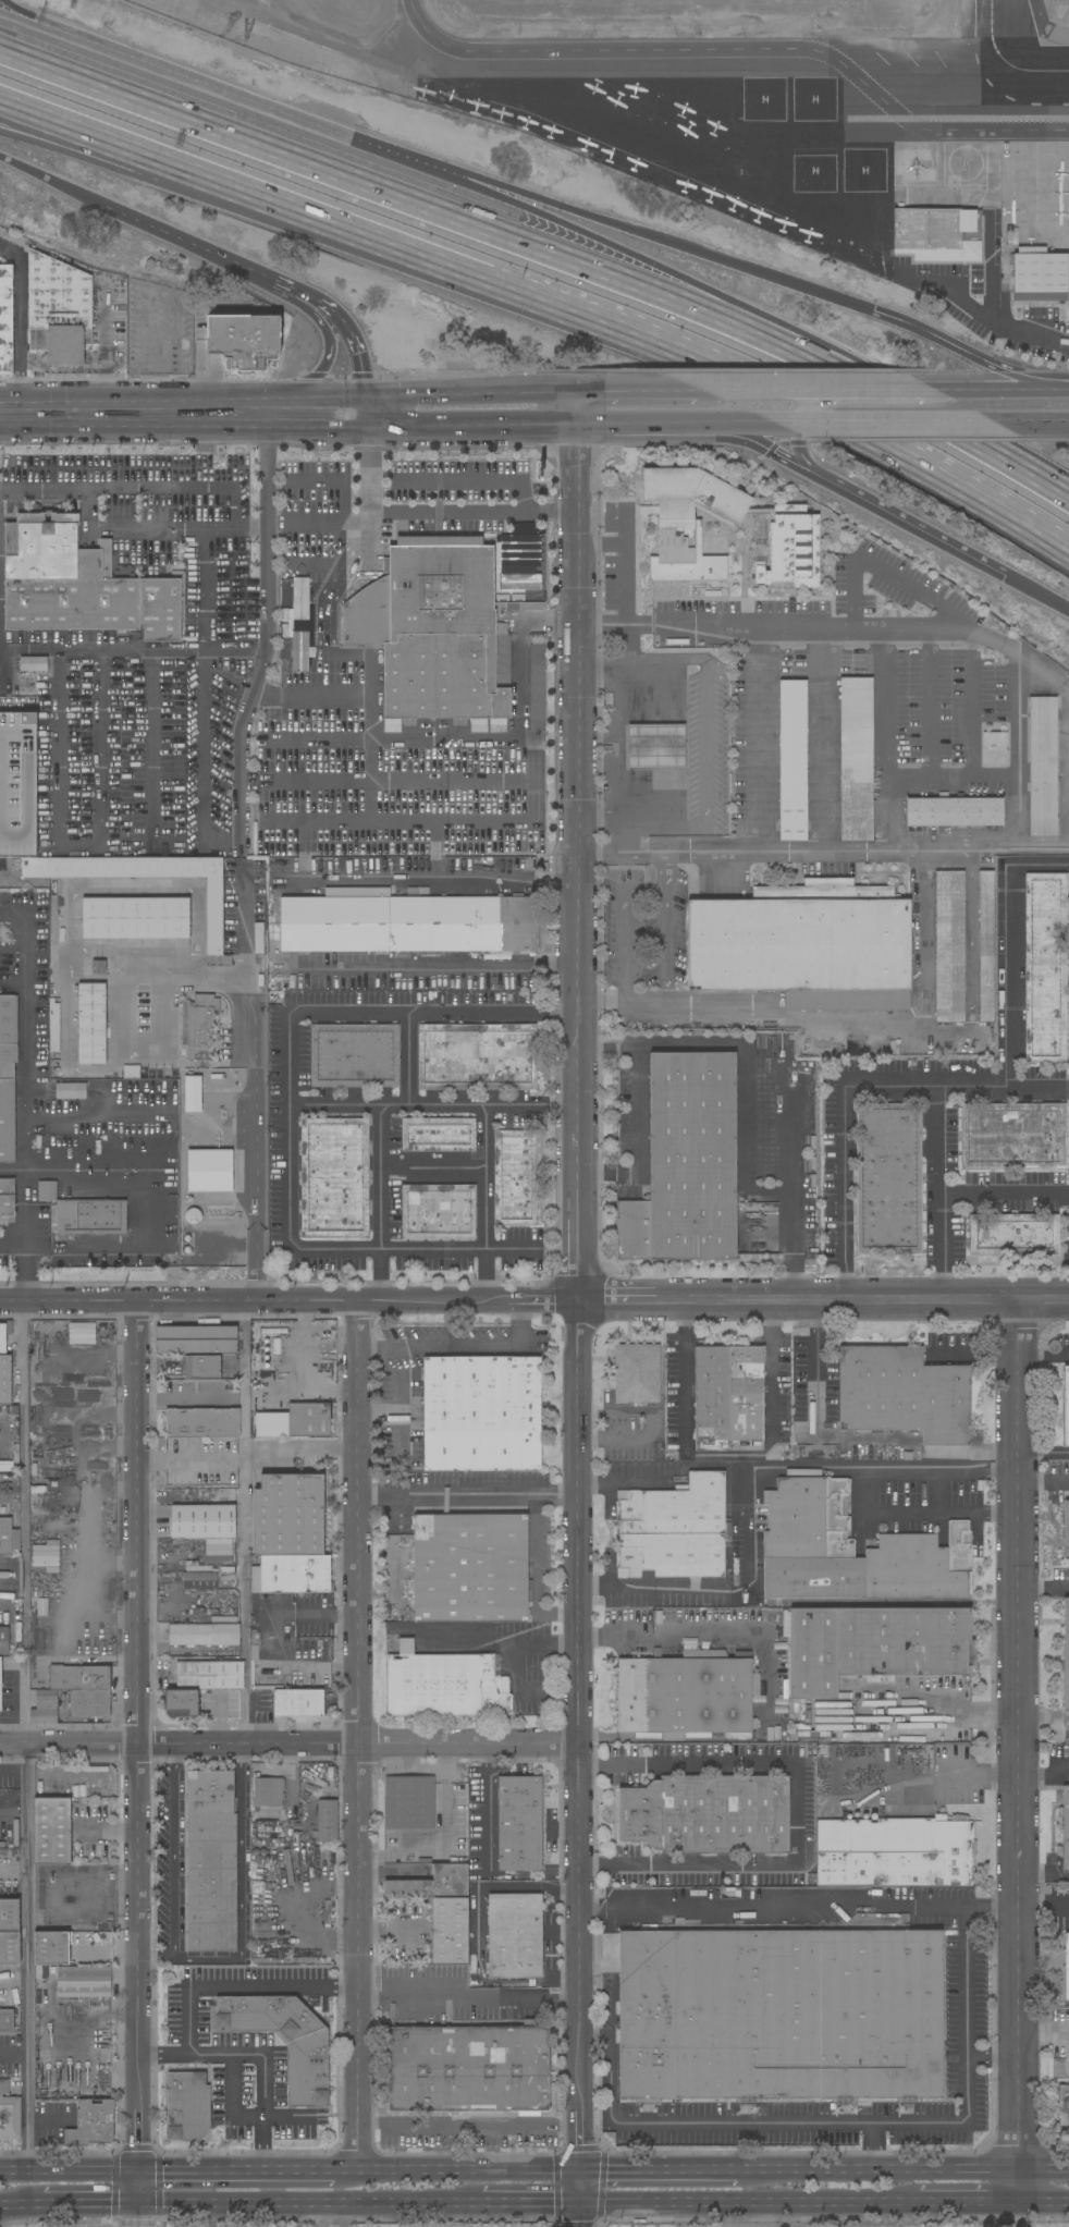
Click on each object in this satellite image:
road: (17, 12)
road: (16, 19)
airport taxiway: (991, 35)
road: (740, 52)
airport taxiway: (1030, 70)
helipad: (763, 99)
helipad: (814, 99)
road: (248, 103)
road: (71, 122)
airport: (754, 124)
road: (71, 139)
road: (155, 154)
helipad: (913, 162)
helipad: (964, 164)
road: (53, 181)
road: (355, 183)
road: (492, 187)
road: (493, 194)
road: (329, 217)
building: (937, 234)
building: (1011, 237)
road: (193, 240)
road: (696, 250)
road: (615, 262)
building: (1039, 274)
road: (288, 282)
building: (58, 309)
traffic signals: (872, 310)
road: (315, 313)
building: (5, 319)
road: (1015, 321)
parking lot: (108, 323)
building: (237, 329)
parking lot: (155, 330)
road: (353, 330)
road: (22, 332)
road: (930, 334)
road: (211, 354)
road: (103, 357)
road: (161, 363)
road: (321, 370)
road: (1015, 376)
road: (1056, 389)
road: (813, 390)
road: (983, 390)
road: (640, 391)
road: (470, 394)
road: (787, 394)
road: (331, 397)
traffic signals: (366, 397)
road: (148, 401)
road: (893, 403)
road: (804, 411)
road: (368, 413)
road: (1032, 425)
road: (890, 426)
road: (472, 427)
road: (651, 427)
road: (755, 427)
traffic signals: (370, 428)
road: (185, 429)
road: (767, 449)
road: (800, 454)
road: (315, 479)
road: (462, 485)
road: (114, 490)
road: (370, 498)
road: (344, 502)
road: (230, 512)
road: (95, 513)
road: (421, 515)
building: (688, 522)
road: (907, 524)
road: (162, 535)
building: (789, 551)
road: (523, 553)
building: (106, 558)
road: (623, 563)
road: (306, 565)
traffic signals: (1006, 576)
building: (79, 584)
road: (329, 588)
road: (208, 592)
road: (1037, 592)
road: (307, 602)
road: (551, 624)
road: (600, 625)
building: (437, 629)
road: (268, 645)
road: (133, 653)
building: (33, 664)
road: (600, 671)
road: (1043, 673)
road: (280, 675)
road: (372, 680)
road: (523, 682)
building: (537, 687)
building: (22, 693)
building: (25, 705)
road: (1016, 721)
road: (884, 737)
road: (619, 739)
road: (755, 739)
road: (451, 741)
road: (319, 742)
building: (655, 746)
road: (153, 749)
building: (994, 749)
building: (856, 759)
building: (792, 760)
road: (371, 761)
road: (202, 763)
building: (1042, 766)
road: (950, 781)
road: (398, 782)
road: (530, 783)
building: (17, 784)
building: (954, 811)
road: (600, 816)
road: (397, 825)
road: (1039, 841)
road: (79, 848)
road: (601, 855)
road: (642, 855)
building: (35, 867)
road: (438, 880)
building: (214, 916)
building: (136, 918)
building: (407, 922)
road: (69, 926)
road: (661, 929)
building: (258, 939)
building: (807, 945)
building: (986, 945)
building: (949, 946)
road: (1010, 947)
road: (89, 953)
building: (98, 967)
building: (1045, 967)
road: (372, 969)
road: (172, 977)
road: (618, 1003)
road: (161, 1014)
road: (871, 1016)
building: (91, 1024)
building: (53, 1026)
building: (198, 1026)
building: (8, 1037)
road: (605, 1042)
road: (753, 1054)
road: (23, 1055)
building: (354, 1055)
building: (477, 1056)
road: (407, 1059)
building: (131, 1072)
road: (958, 1088)
road: (253, 1089)
building: (70, 1091)
building: (192, 1093)
road: (286, 1105)
road: (431, 1105)
road: (634, 1110)
building: (8, 1122)
building: (438, 1135)
building: (1013, 1136)
building: (686, 1163)
road: (433, 1166)
road: (11, 1171)
building: (209, 1171)
building: (334, 1177)
building: (515, 1177)
building: (888, 1177)
road: (606, 1178)
road: (789, 1183)
building: (46, 1190)
road: (844, 1194)
road: (1003, 1194)
road: (937, 1195)
building: (7, 1198)
road: (486, 1202)
road: (380, 1203)
building: (439, 1212)
building: (88, 1217)
building: (1013, 1235)
road: (21, 1246)
road: (26, 1256)
road: (534, 1300)
road: (577, 1309)
building: (81, 1334)
building: (196, 1339)
road: (459, 1347)
road: (1043, 1357)
road: (976, 1358)
building: (4, 1366)
building: (202, 1368)
building: (637, 1373)
road: (684, 1373)
building: (260, 1386)
building: (902, 1394)
building: (727, 1395)
road: (182, 1398)
building: (1066, 1407)
road: (814, 1414)
building: (482, 1415)
road: (771, 1419)
building: (297, 1421)
building: (202, 1422)
road: (650, 1428)
road: (302, 1453)
road: (1059, 1458)
road: (187, 1459)
road: (747, 1480)
road: (626, 1483)
road: (1043, 1486)
road: (468, 1494)
building: (40, 1501)
road: (925, 1512)
building: (288, 1515)
building: (204, 1522)
road: (243, 1522)
building: (674, 1529)
building: (1066, 1529)
building: (8, 1538)
building: (175, 1542)
building: (852, 1551)
building: (11, 1567)
building: (470, 1568)
road: (537, 1570)
building: (295, 1574)
building: (256, 1579)
building: (199, 1580)
road: (1044, 1592)
building: (910, 1603)
building: (42, 1607)
road: (330, 1614)
building: (204, 1635)
road: (489, 1637)
road: (672, 1638)
building: (4, 1641)
building: (875, 1645)
building: (1066, 1655)
building: (210, 1676)
building: (79, 1677)
building: (0, 1685)
building: (445, 1686)
building: (685, 1693)
road: (942, 1699)
building: (298, 1702)
building: (89, 1703)
building: (182, 1703)
building: (45, 1708)
building: (784, 1722)
building: (763, 1728)
building: (769, 1729)
road: (1019, 1735)
road: (360, 1737)
road: (26, 1738)
road: (288, 1745)
road: (135, 1752)
road: (1044, 1763)
road: (955, 1777)
building: (268, 1791)
building: (409, 1802)
road: (486, 1804)
building: (708, 1814)
road: (797, 1815)
building: (327, 1821)
building: (519, 1823)
building: (1065, 1830)
building: (52, 1831)
road: (173, 1851)
building: (894, 1851)
building: (211, 1861)
building: (298, 1864)
road: (392, 1876)
building: (432, 1884)
road: (241, 1901)
road: (1044, 1905)
road: (590, 1907)
road: (703, 1907)
road: (912, 1907)
building: (9, 1914)
building: (268, 1922)
building: (449, 1931)
building: (515, 1935)
building: (471, 1937)
building: (10, 1948)
building: (50, 1948)
building: (269, 1953)
building: (1067, 1967)
building: (83, 1983)
road: (3, 1987)
road: (467, 1996)
parking lot: (209, 2006)
building: (785, 2016)
building: (5, 2017)
road: (189, 2030)
road: (1044, 2035)
road: (14, 2055)
building: (1057, 2068)
building: (471, 2071)
building: (308, 2075)
building: (79, 2091)
parking lot: (254, 2093)
building: (187, 2106)
building: (1062, 2106)
building: (9, 2114)
building: (91, 2124)
road: (844, 2124)
road: (468, 2125)
road: (1045, 2170)
road: (880, 2171)
traffic signals: (582, 2173)
road: (660, 2173)
road: (69, 2174)
traffic signals: (137, 2174)
road: (235, 2174)
road: (458, 2174)
road: (1022, 2187)
road: (309, 2203)
road: (532, 2203)
road: (892, 2203)
road: (1046, 2203)
road: (90, 2204)
traffic signals: (137, 2204)
traffic signals: (582, 2204)
road: (672, 2204)
road: (22, 2205)
road: (136, 2215)
road: (330, 2215)

